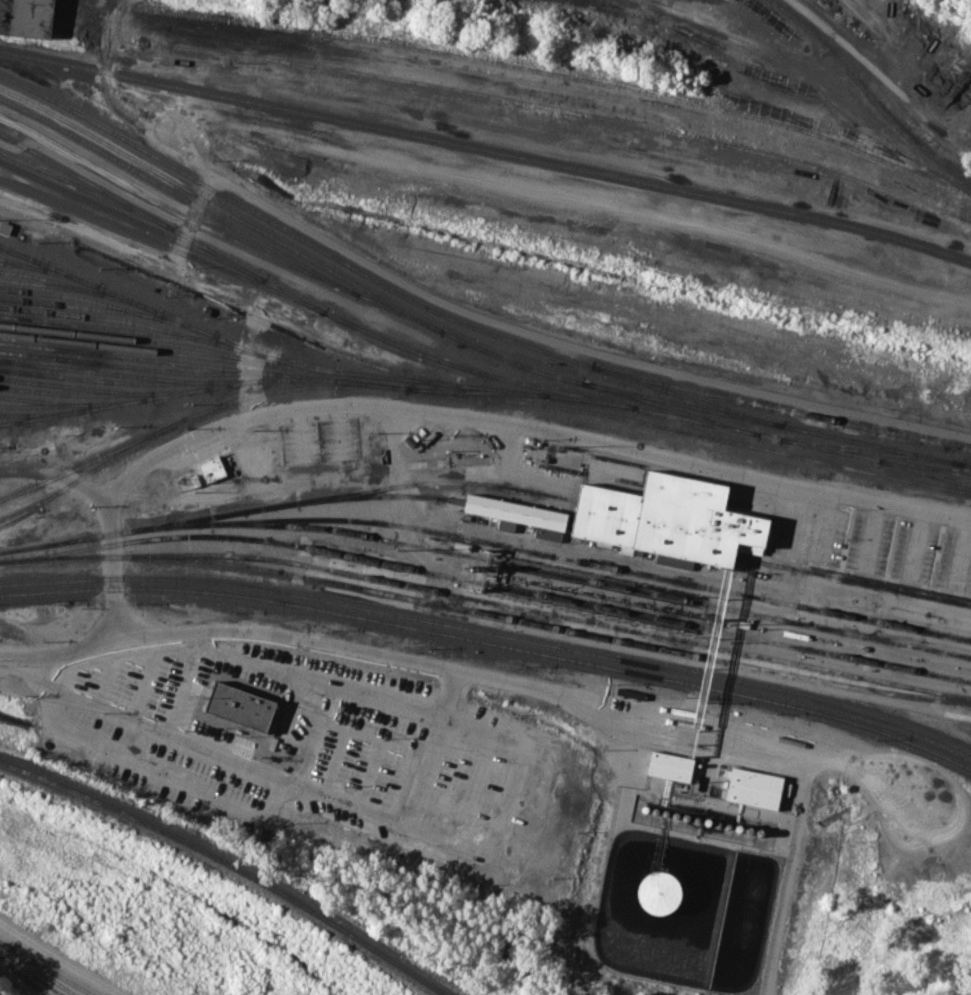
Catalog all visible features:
building: (27, 17)
road: (109, 30)
railway: (363, 62)
railway: (459, 68)
railway: (557, 73)
road: (883, 77)
railway: (868, 95)
railway: (569, 110)
road: (148, 119)
railway: (487, 149)
railway: (79, 185)
railway: (169, 190)
railway: (210, 201)
railway: (121, 215)
railway: (150, 216)
road: (190, 219)
railway: (205, 226)
railway: (290, 233)
railway: (149, 239)
railway: (5, 248)
railway: (12, 263)
railway: (40, 269)
road: (178, 271)
railway: (36, 282)
railway: (67, 285)
railway: (101, 302)
railway: (70, 306)
railway: (162, 314)
railway: (265, 321)
railway: (134, 322)
railway: (98, 326)
railway: (165, 343)
road: (576, 346)
railway: (135, 348)
railway: (502, 356)
railway: (162, 359)
railway: (132, 366)
railway: (468, 367)
railway: (99, 371)
railway: (132, 382)
railway: (70, 385)
railway: (488, 387)
railway: (477, 391)
railway: (97, 393)
railway: (682, 394)
railway: (161, 395)
railway: (43, 400)
railway: (66, 403)
railway: (681, 403)
railway: (672, 407)
railway: (781, 409)
railway: (10, 413)
railway: (39, 413)
road: (460, 415)
railway: (190, 416)
railway: (8, 422)
railway: (650, 423)
railway: (808, 444)
railway: (870, 444)
railway: (873, 451)
building: (211, 468)
railway: (924, 472)
railway: (83, 474)
road: (55, 475)
railway: (441, 482)
railway: (231, 512)
building: (514, 512)
railway: (752, 514)
building: (668, 518)
building: (505, 525)
building: (547, 534)
parking lot: (877, 545)
railway: (554, 554)
railway: (852, 579)
railway: (596, 581)
railway: (487, 584)
railway: (486, 613)
railway: (559, 615)
railway: (490, 633)
railway: (491, 643)
road: (465, 674)
building: (236, 706)
road: (427, 748)
parking lot: (331, 753)
building: (669, 765)
building: (753, 788)
road: (338, 801)
railway: (228, 864)
building: (658, 892)
road: (64, 958)
railway: (44, 968)
railway: (35, 969)
railway: (21, 976)
railway: (29, 982)

